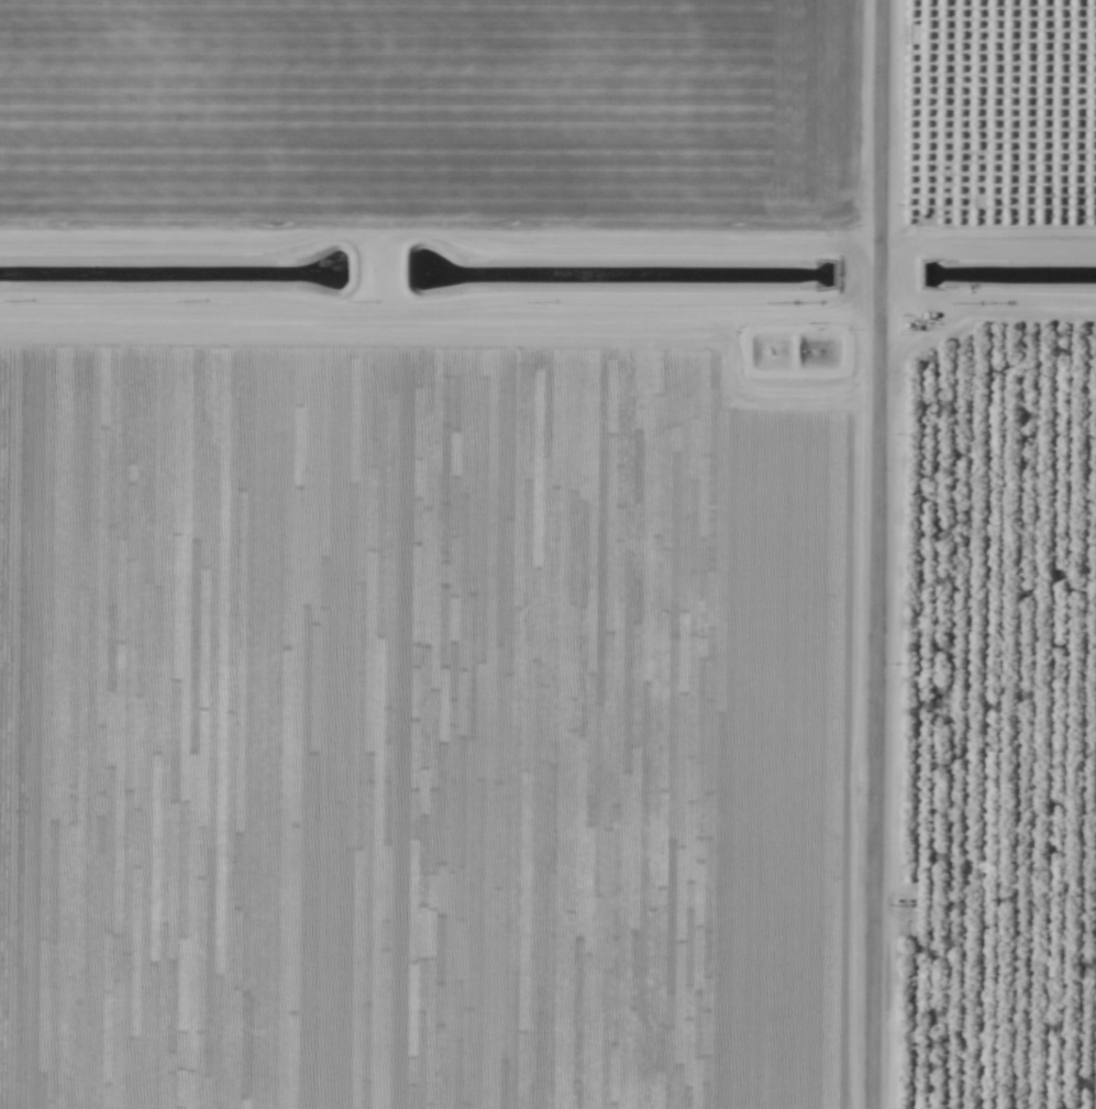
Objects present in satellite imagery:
crop: (547, 554)
road: (878, 554)

